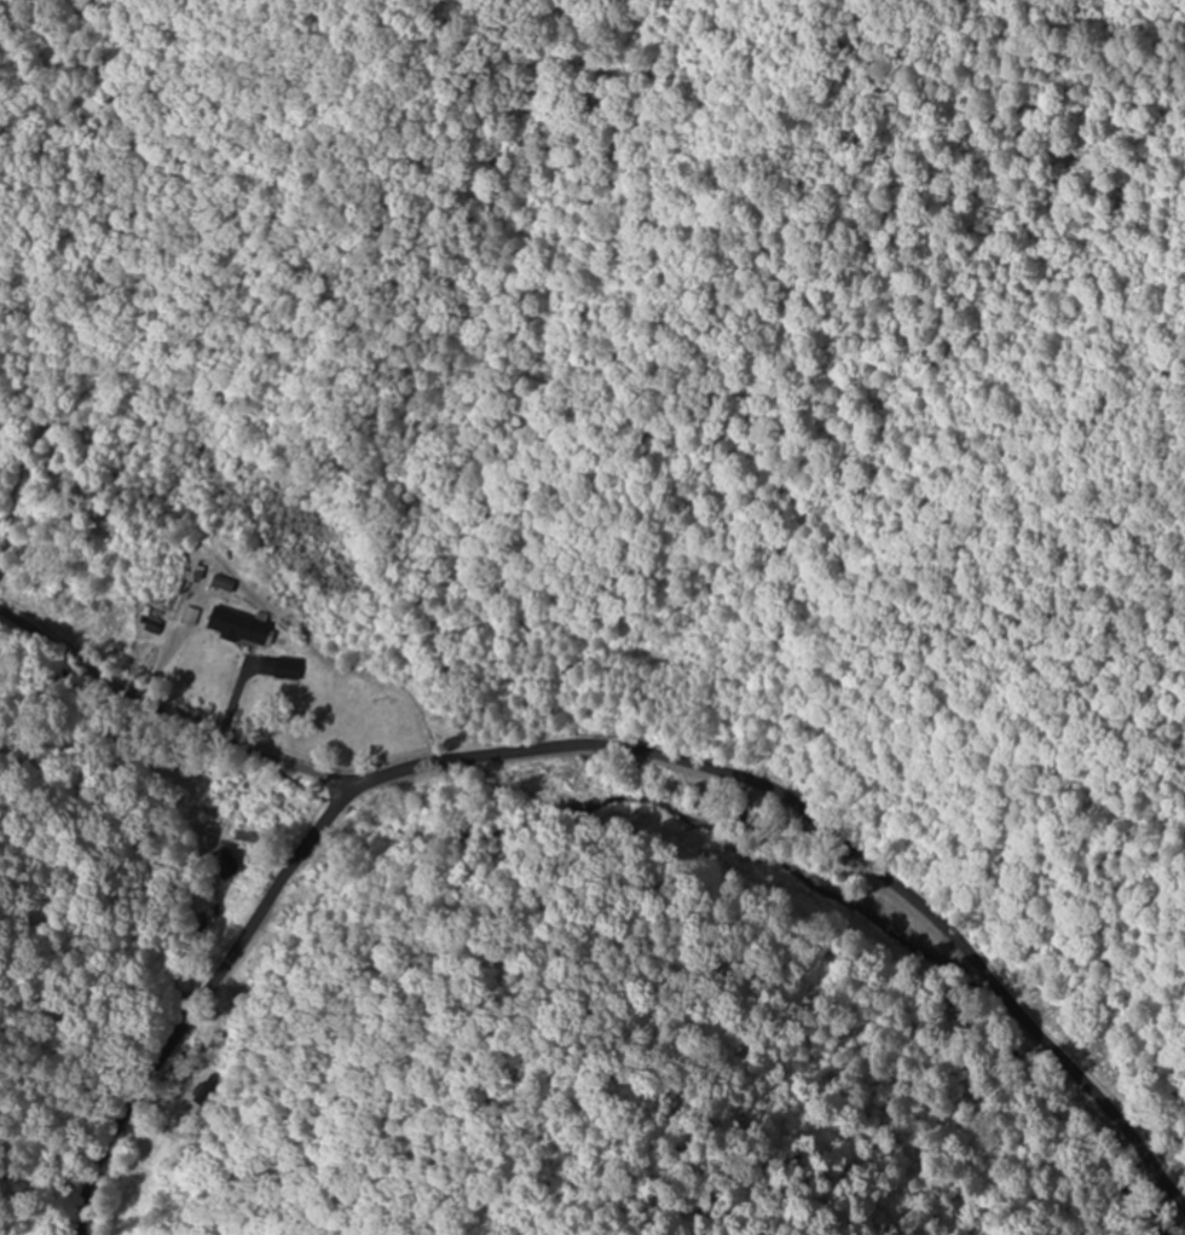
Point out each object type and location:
building: (220, 583)
building: (189, 616)
building: (236, 627)
building: (284, 669)
road: (115, 752)
road: (551, 757)
building: (222, 862)

